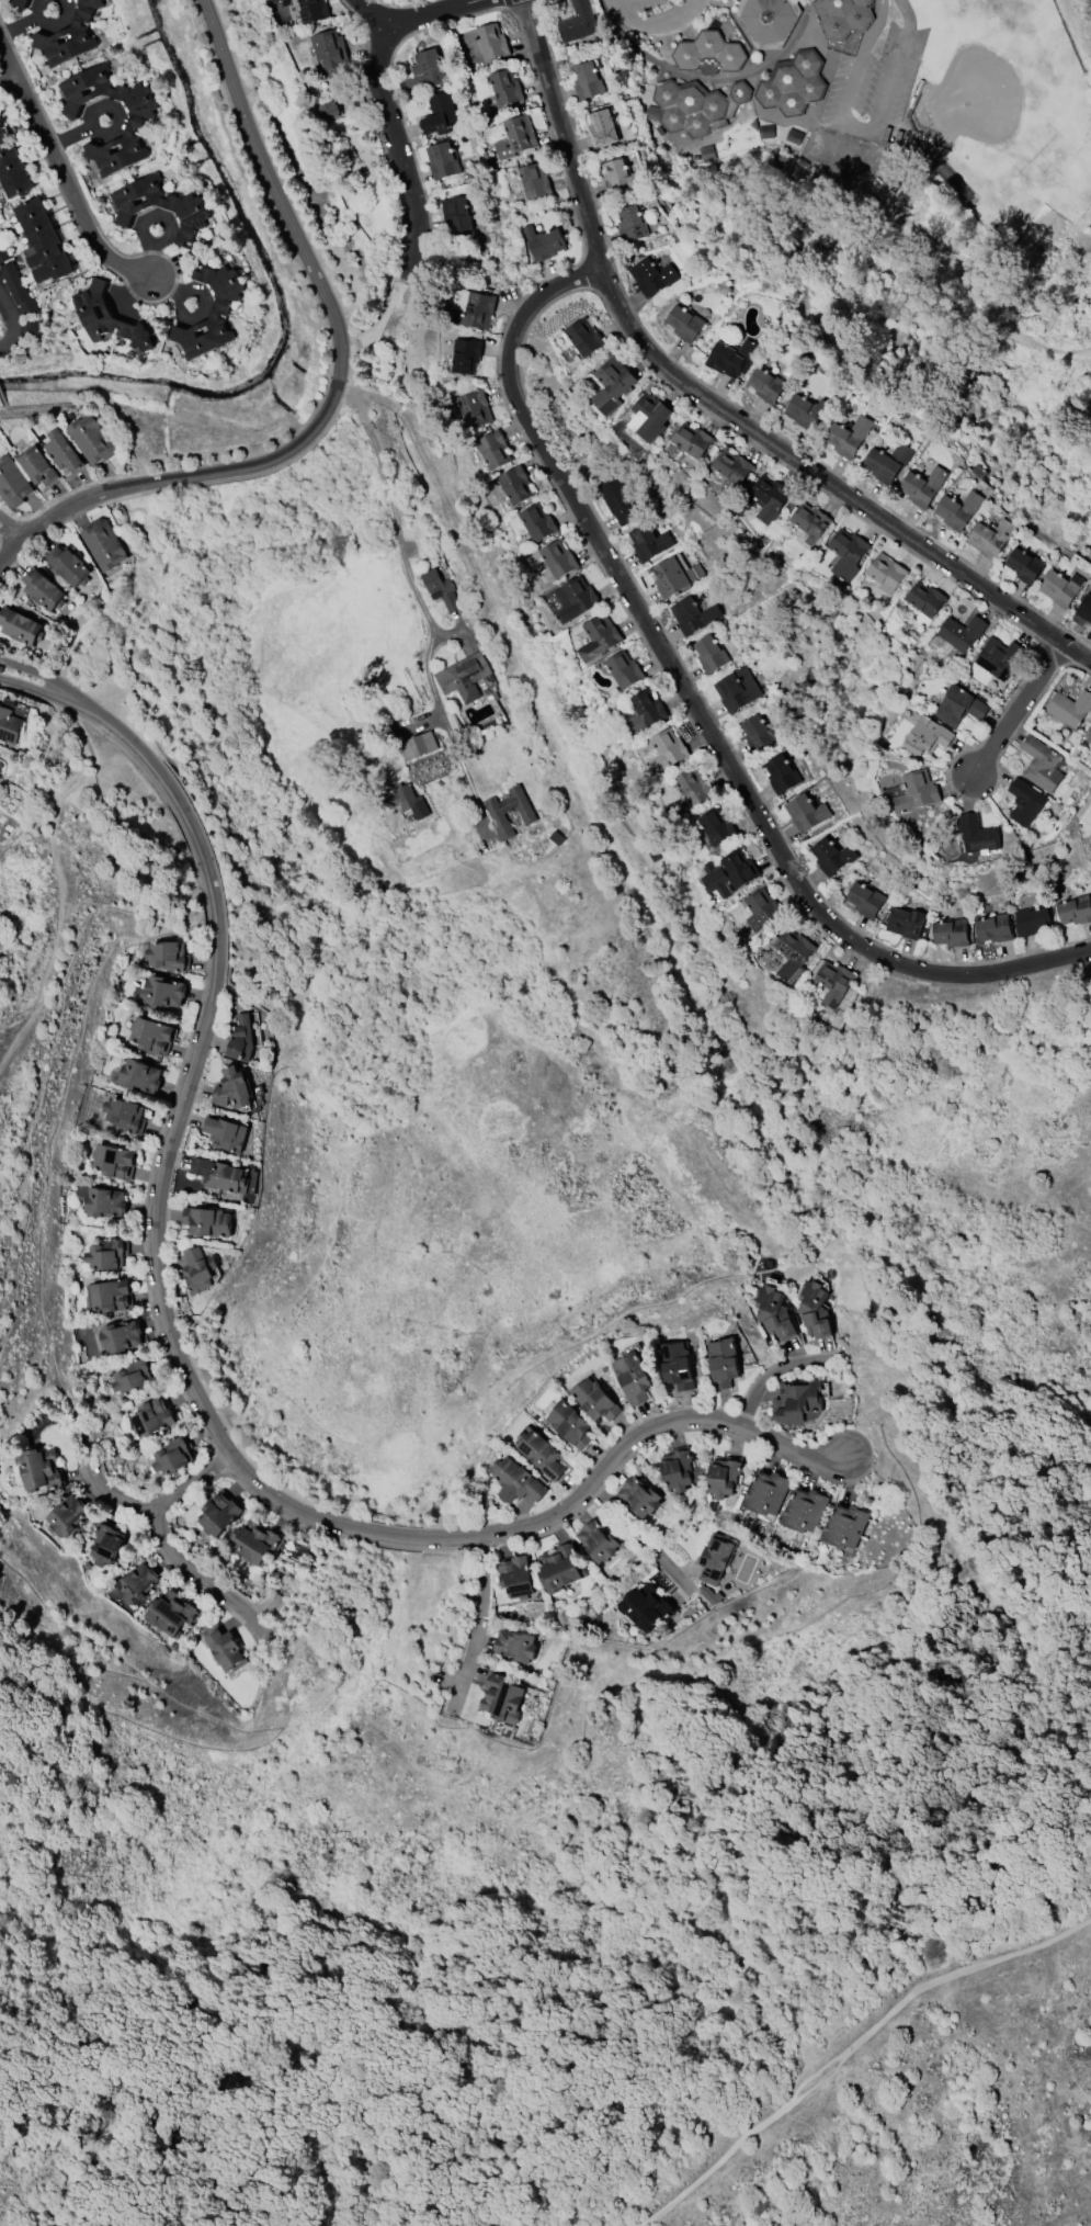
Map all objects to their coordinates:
building: (20, 2)
building: (312, 10)
road: (373, 14)
road: (433, 14)
building: (846, 16)
building: (766, 20)
building: (579, 21)
road: (651, 22)
building: (68, 37)
building: (491, 41)
building: (329, 53)
building: (708, 53)
road: (10, 57)
road: (829, 57)
road: (899, 59)
building: (424, 71)
road: (745, 76)
road: (10, 79)
building: (588, 79)
road: (854, 79)
building: (793, 82)
building: (505, 87)
building: (739, 92)
park: (966, 102)
building: (689, 106)
building: (330, 110)
building: (439, 113)
building: (134, 127)
building: (602, 127)
building: (3, 136)
building: (516, 137)
road: (398, 149)
building: (442, 159)
building: (13, 173)
building: (621, 177)
building: (533, 181)
road: (67, 193)
building: (191, 210)
building: (456, 214)
building: (630, 223)
building: (42, 241)
building: (544, 241)
building: (3, 251)
building: (651, 274)
building: (18, 289)
building: (220, 309)
building: (477, 310)
building: (107, 317)
building: (684, 321)
road: (8, 328)
building: (583, 337)
building: (467, 354)
building: (731, 357)
road: (338, 380)
building: (765, 383)
building: (611, 384)
road: (713, 400)
building: (477, 408)
building: (804, 410)
building: (649, 416)
building: (846, 434)
building: (92, 438)
building: (692, 440)
building: (493, 449)
building: (64, 450)
building: (886, 461)
building: (38, 465)
building: (731, 466)
building: (12, 482)
building: (515, 485)
building: (921, 485)
building: (768, 497)
building: (615, 498)
building: (957, 509)
building: (537, 522)
building: (809, 522)
road: (9, 530)
building: (990, 536)
building: (647, 540)
building: (102, 543)
building: (846, 553)
road: (404, 554)
building: (557, 560)
building: (1023, 564)
building: (69, 565)
building: (885, 572)
building: (673, 575)
building: (1060, 587)
building: (43, 589)
building: (440, 589)
building: (924, 598)
building: (575, 599)
building: (1084, 608)
building: (692, 614)
building: (20, 626)
building: (961, 632)
building: (598, 636)
building: (709, 653)
building: (998, 657)
building: (624, 668)
road: (33, 670)
building: (464, 676)
road: (31, 687)
building: (737, 688)
building: (959, 705)
building: (1069, 707)
road: (1020, 709)
building: (643, 711)
road: (700, 714)
building: (9, 724)
building: (758, 732)
building: (1088, 734)
building: (927, 735)
building: (418, 745)
building: (667, 749)
building: (1041, 764)
building: (780, 772)
road: (468, 781)
building: (692, 786)
building: (916, 791)
building: (407, 800)
building: (1024, 802)
building: (509, 811)
building: (806, 811)
building: (715, 827)
building: (977, 834)
building: (831, 855)
road: (57, 872)
building: (728, 872)
building: (864, 899)
building: (761, 909)
building: (1075, 909)
building: (1032, 919)
building: (905, 922)
building: (993, 927)
building: (950, 931)
building: (167, 954)
building: (792, 954)
building: (833, 982)
building: (163, 992)
building: (150, 1033)
building: (241, 1039)
building: (140, 1075)
building: (234, 1087)
building: (125, 1114)
building: (225, 1132)
building: (113, 1161)
building: (219, 1174)
building: (101, 1199)
building: (207, 1221)
building: (106, 1254)
building: (197, 1269)
building: (109, 1296)
building: (814, 1309)
building: (773, 1312)
building: (121, 1336)
building: (723, 1361)
building: (677, 1364)
road: (770, 1370)
building: (133, 1376)
building: (633, 1376)
road: (191, 1387)
building: (595, 1399)
building: (797, 1402)
building: (152, 1415)
building: (570, 1424)
building: (539, 1453)
building: (173, 1454)
building: (39, 1469)
building: (678, 1469)
building: (723, 1477)
building: (516, 1480)
building: (768, 1492)
building: (639, 1495)
road: (157, 1503)
building: (805, 1510)
building: (218, 1513)
building: (67, 1514)
building: (844, 1525)
building: (598, 1540)
road: (643, 1540)
building: (253, 1543)
building: (106, 1544)
building: (715, 1558)
building: (559, 1567)
building: (515, 1577)
road: (202, 1578)
building: (137, 1582)
building: (646, 1606)
building: (170, 1614)
road: (480, 1619)
building: (515, 1645)
building: (224, 1648)
building: (501, 1697)
road: (846, 2044)

